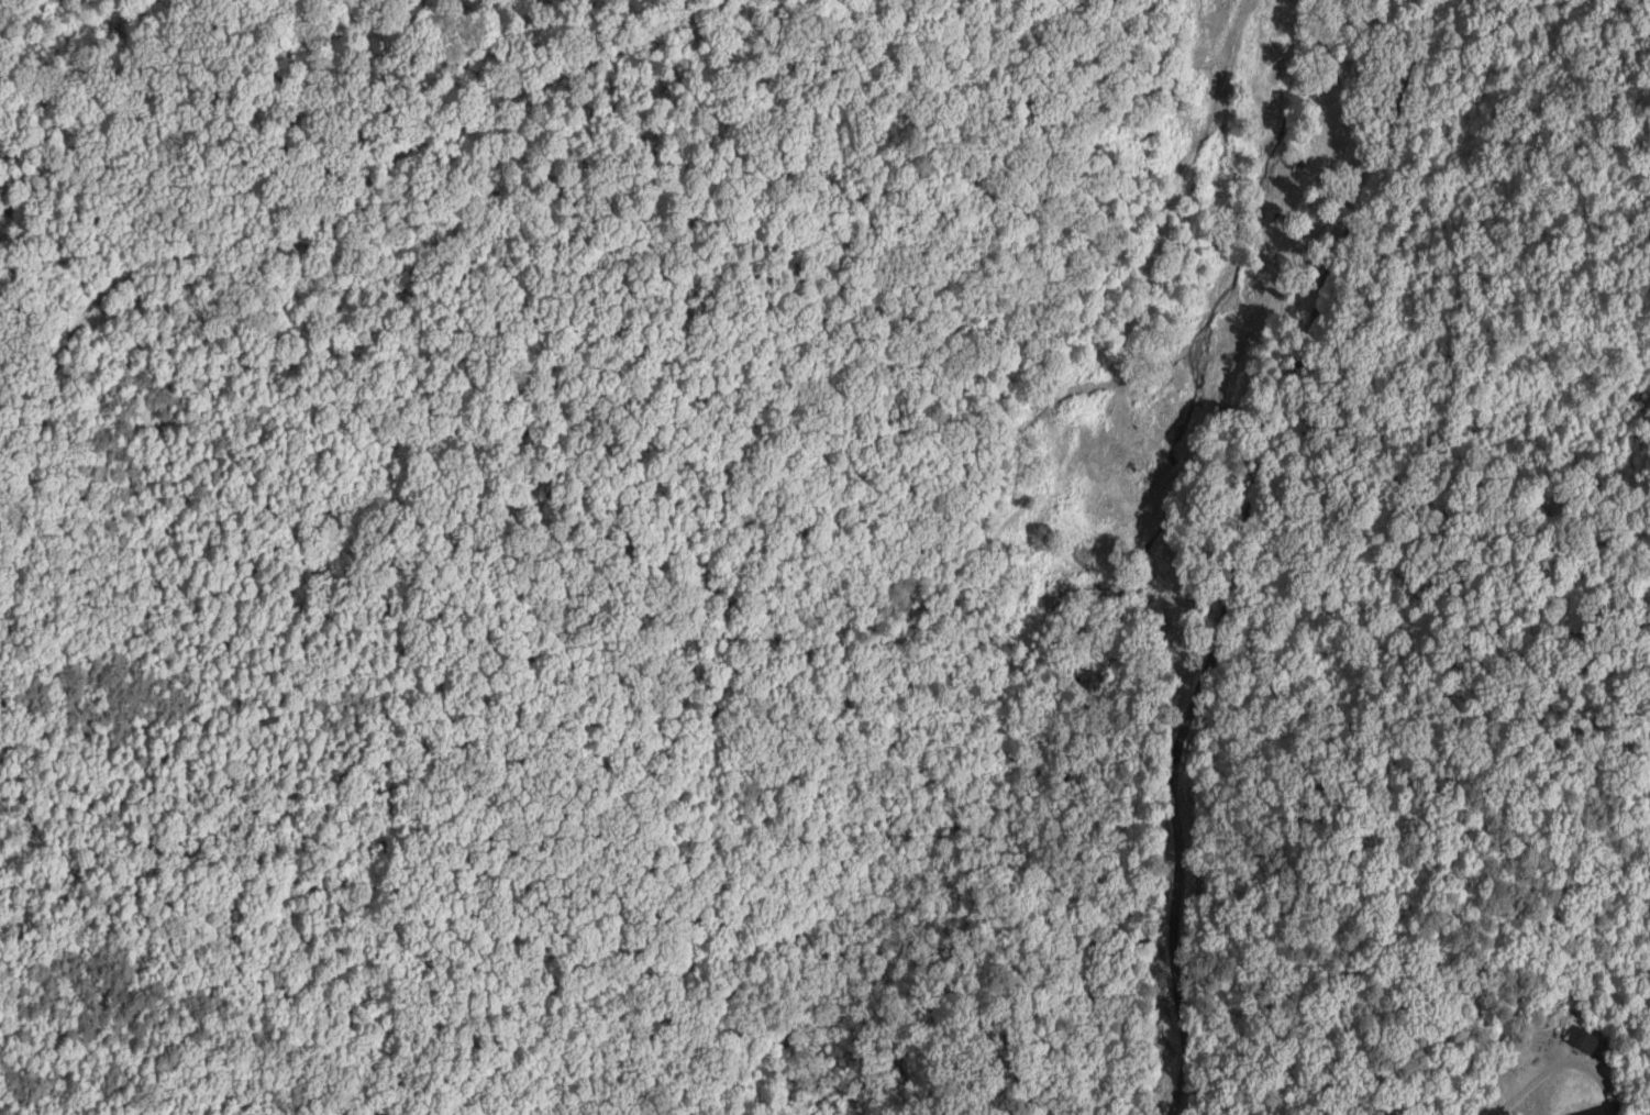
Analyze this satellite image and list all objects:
building: (1330, 121)
building: (1133, 417)
road: (1240, 544)
building: (1582, 1041)
building: (1595, 1112)

